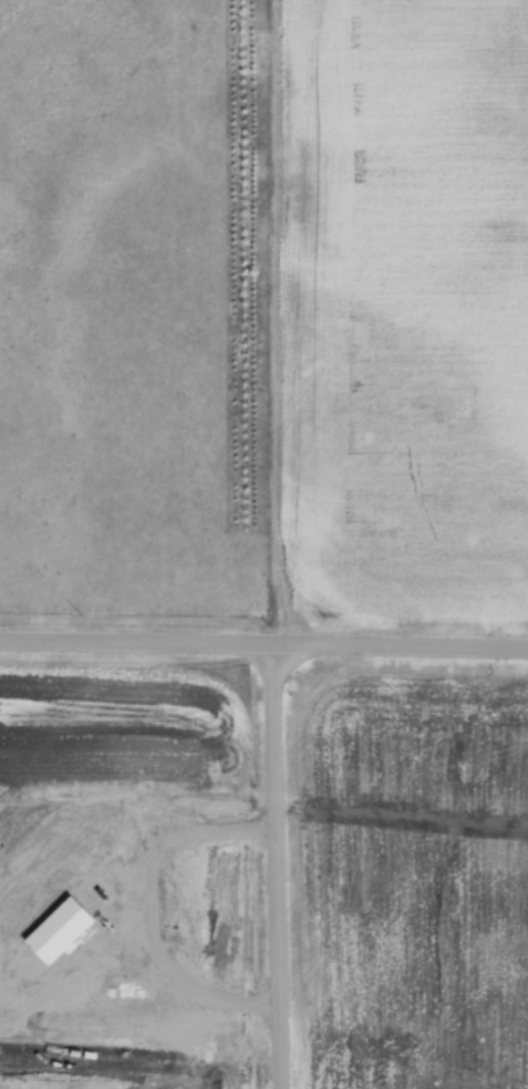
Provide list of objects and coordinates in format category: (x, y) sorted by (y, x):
road: (263, 644)
road: (278, 867)

